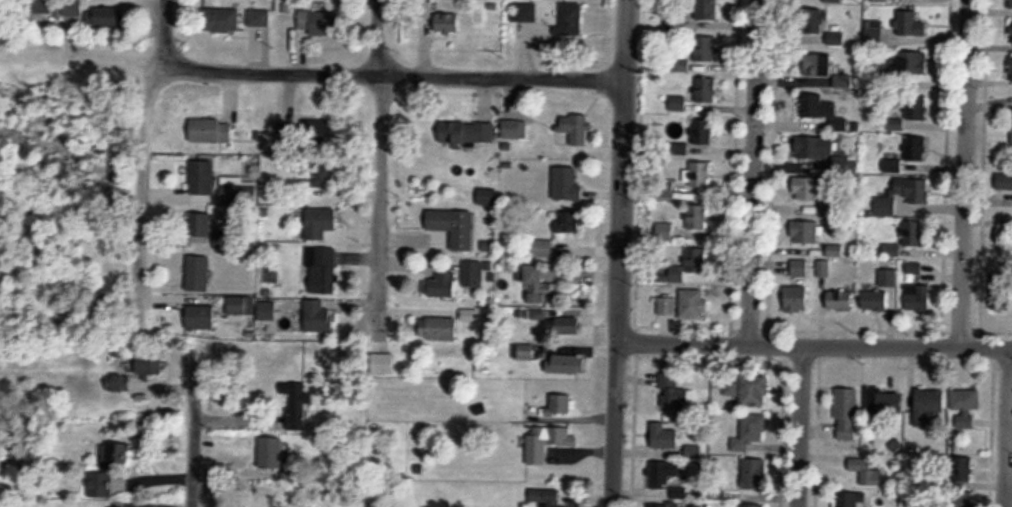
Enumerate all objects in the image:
building: (833, 1)
building: (46, 7)
building: (72, 7)
building: (707, 10)
building: (526, 12)
building: (104, 17)
building: (258, 17)
building: (221, 19)
building: (571, 19)
building: (321, 22)
building: (818, 22)
building: (912, 22)
building: (448, 23)
building: (840, 39)
building: (707, 50)
building: (914, 64)
building: (818, 65)
building: (1011, 69)
road: (377, 72)
building: (707, 90)
building: (820, 107)
building: (919, 108)
building: (211, 130)
building: (577, 130)
building: (318, 131)
building: (703, 132)
building: (288, 133)
building: (467, 133)
road: (141, 143)
building: (815, 148)
building: (918, 149)
road: (379, 153)
road: (754, 170)
road: (963, 172)
building: (701, 175)
building: (321, 177)
building: (202, 178)
building: (1004, 182)
building: (566, 185)
building: (807, 189)
building: (914, 190)
building: (237, 192)
building: (886, 207)
building: (698, 218)
building: (569, 222)
building: (320, 223)
building: (453, 226)
building: (200, 230)
building: (806, 233)
building: (913, 234)
road: (618, 253)
building: (690, 266)
building: (800, 269)
building: (823, 269)
building: (321, 270)
building: (198, 274)
building: (472, 274)
building: (887, 278)
building: (443, 286)
building: (537, 286)
building: (918, 297)
building: (797, 300)
building: (840, 301)
building: (874, 302)
building: (693, 305)
building: (248, 306)
building: (666, 306)
building: (201, 318)
building: (318, 318)
building: (564, 326)
building: (439, 328)
road: (814, 343)
building: (383, 363)
building: (150, 364)
building: (566, 364)
building: (118, 383)
building: (730, 386)
building: (674, 392)
building: (753, 392)
building: (297, 393)
building: (886, 401)
building: (560, 404)
building: (927, 405)
building: (965, 406)
building: (846, 412)
road: (798, 425)
road: (1003, 425)
building: (749, 432)
building: (665, 434)
road: (193, 437)
building: (547, 442)
building: (271, 450)
building: (119, 453)
building: (868, 470)
building: (659, 474)
building: (754, 474)
building: (98, 484)
building: (546, 497)
building: (853, 498)
building: (753, 505)

